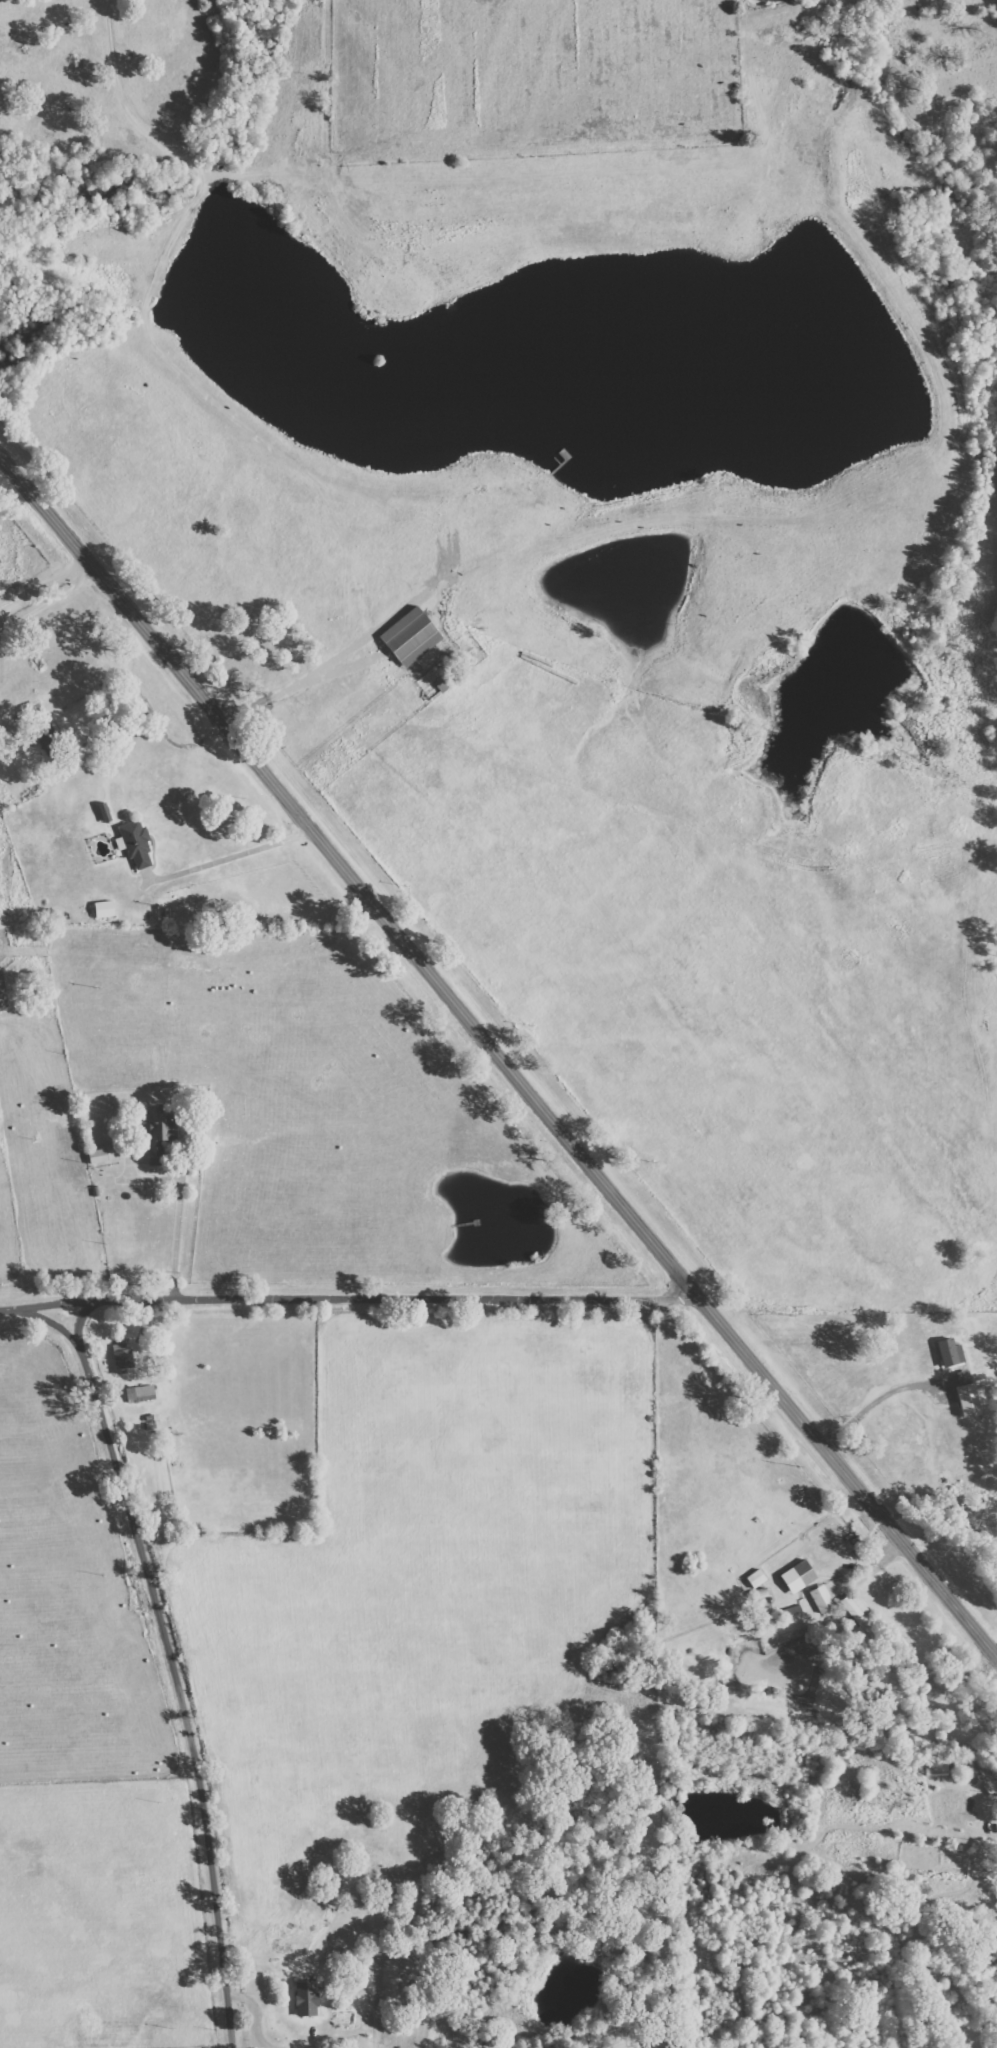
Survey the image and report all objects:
road: (41, 582)
road: (47, 601)
building: (409, 637)
road: (150, 706)
building: (135, 844)
road: (228, 858)
building: (103, 909)
building: (2, 996)
road: (499, 1056)
building: (154, 1133)
building: (96, 1156)
road: (180, 1207)
road: (349, 1301)
road: (49, 1320)
building: (949, 1353)
building: (122, 1356)
building: (140, 1393)
building: (965, 1394)
road: (875, 1401)
building: (797, 1577)
building: (821, 1599)
road: (172, 1667)
building: (304, 1999)

